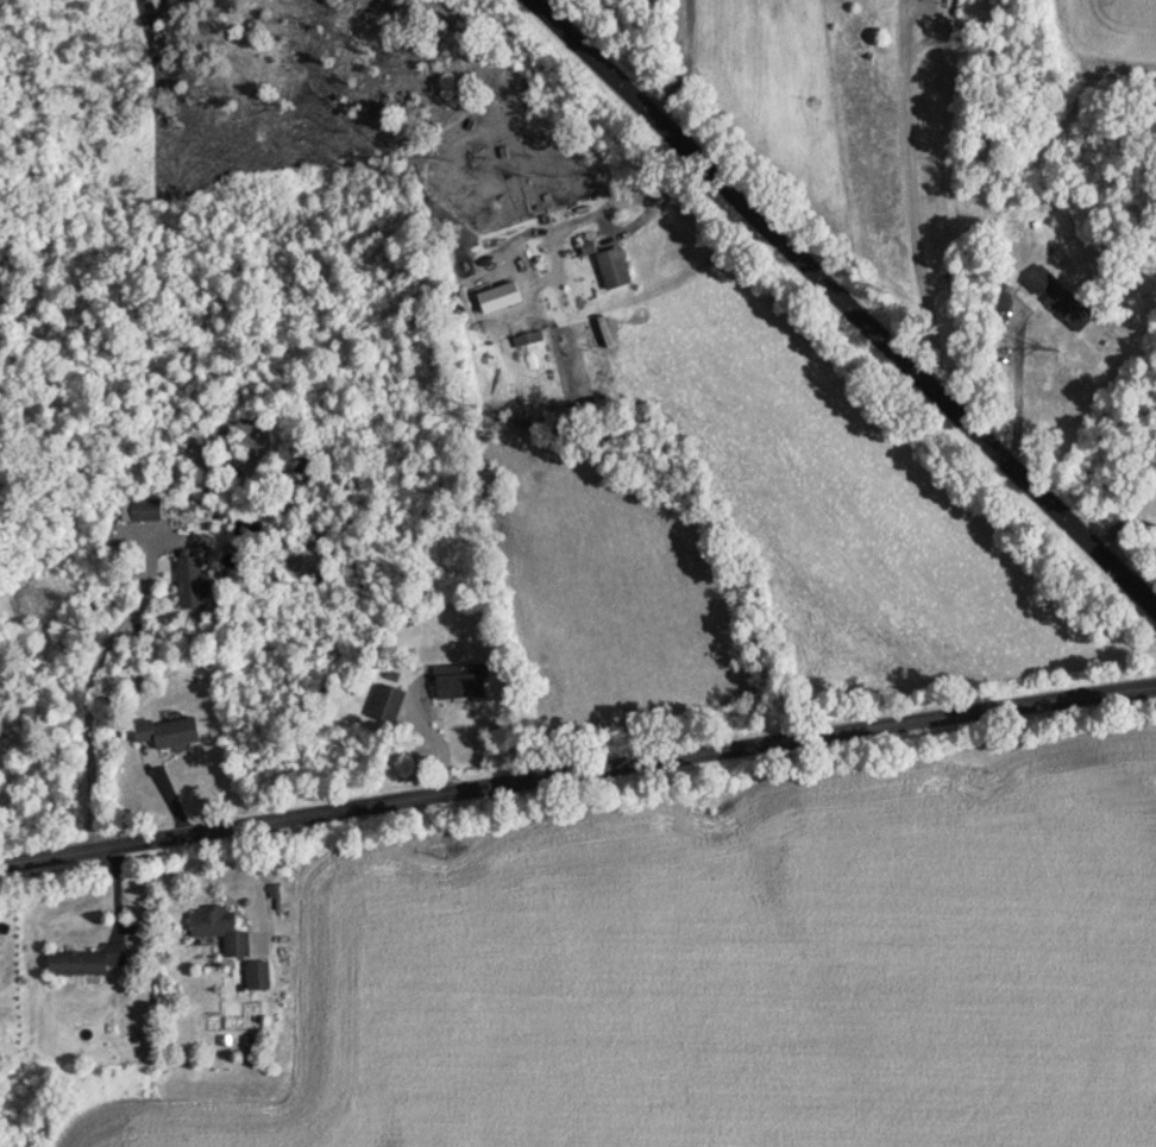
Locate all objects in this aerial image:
road: (686, 68)
road: (911, 198)
building: (615, 269)
building: (1068, 305)
road: (843, 307)
building: (528, 339)
road: (1020, 392)
building: (151, 510)
road: (1117, 519)
building: (191, 582)
building: (465, 686)
road: (88, 702)
building: (389, 705)
building: (175, 732)
road: (577, 782)
building: (221, 931)
building: (88, 962)

